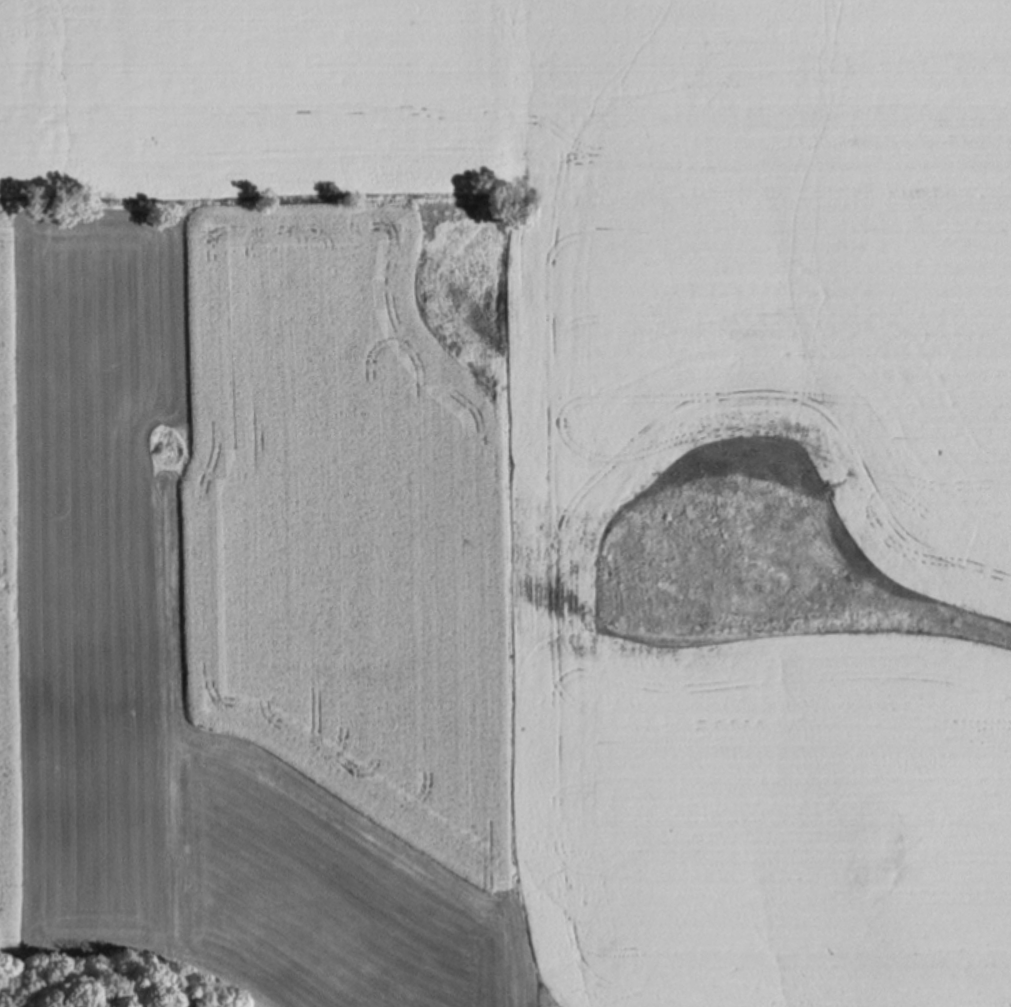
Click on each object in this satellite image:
road: (40, 972)

